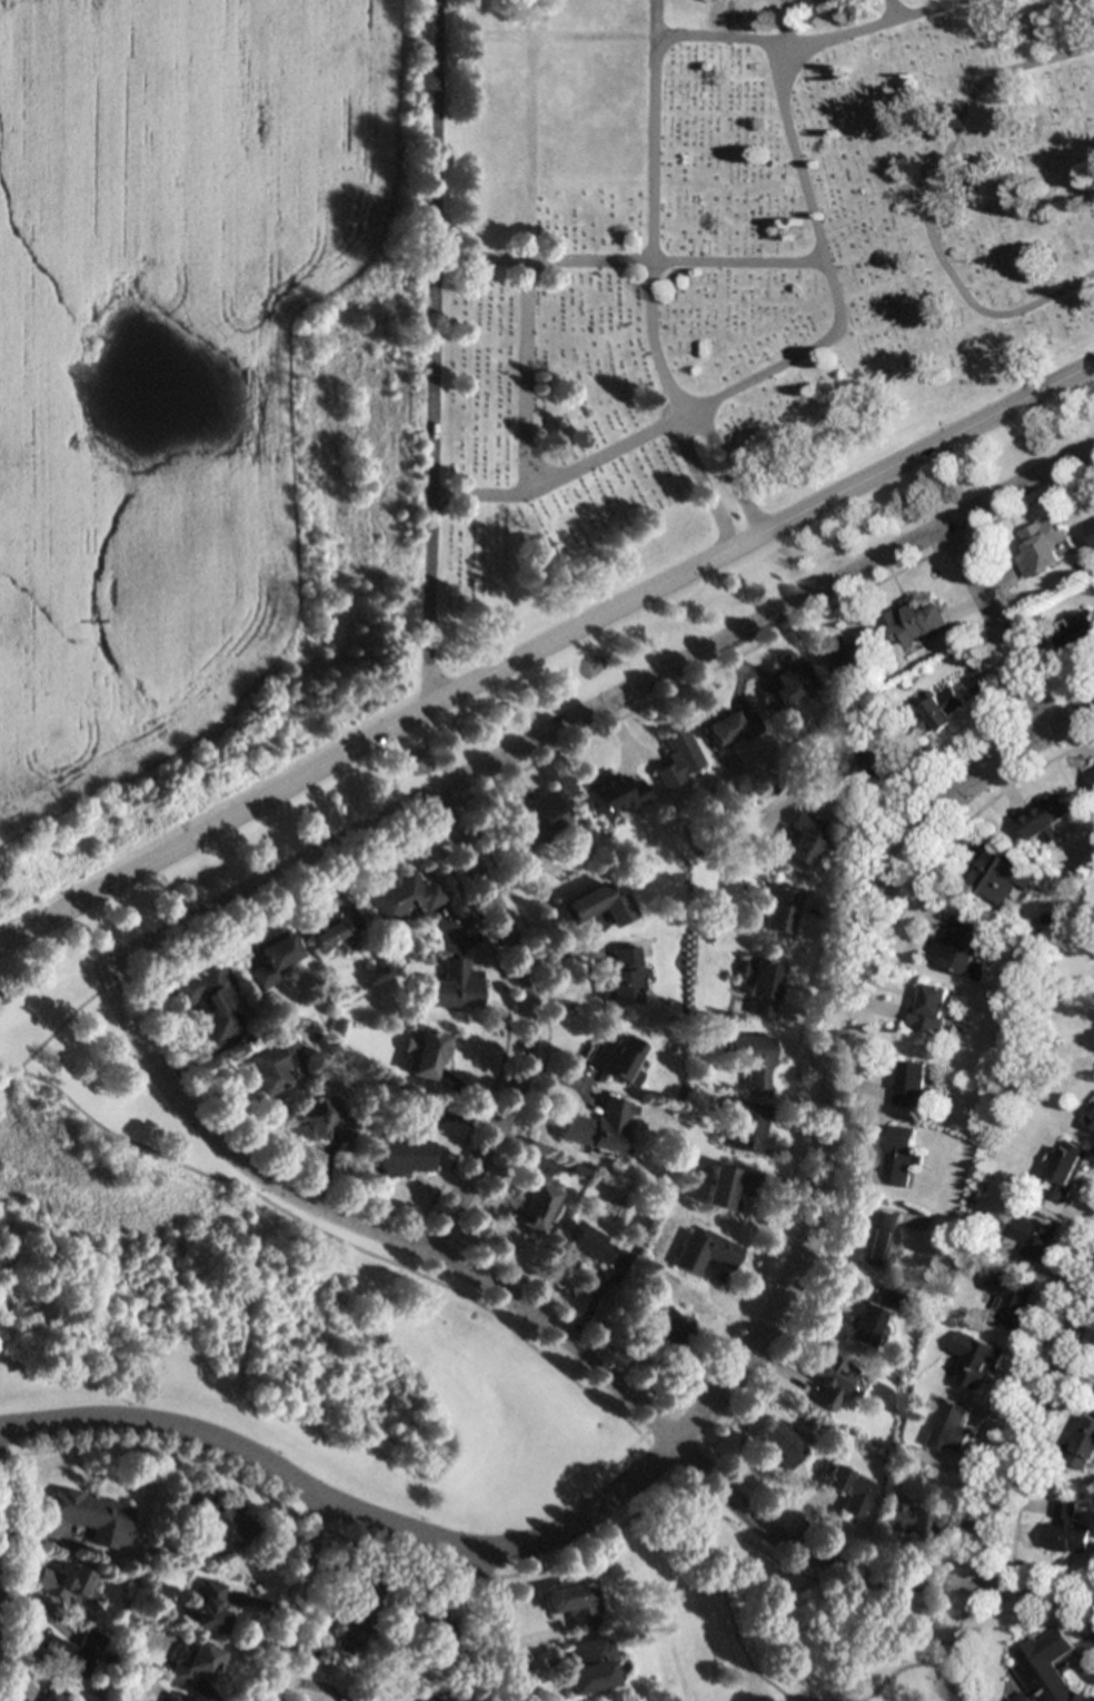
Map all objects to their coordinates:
building: (832, 0)
road: (662, 259)
park: (738, 267)
road: (653, 339)
park: (429, 340)
road: (527, 374)
crop: (195, 409)
road: (730, 471)
road: (705, 484)
building: (1092, 528)
building: (1042, 546)
building: (915, 622)
road: (999, 626)
building: (1078, 637)
road: (543, 649)
building: (846, 657)
park: (598, 661)
building: (789, 685)
building: (937, 713)
road: (569, 723)
building: (732, 728)
building: (679, 758)
building: (858, 772)
building: (1091, 774)
building: (616, 795)
building: (538, 818)
building: (1046, 818)
building: (807, 840)
building: (999, 876)
building: (402, 898)
building: (601, 906)
building: (783, 909)
building: (331, 929)
building: (957, 946)
building: (271, 959)
building: (623, 977)
building: (452, 986)
building: (763, 986)
building: (209, 1000)
building: (931, 1007)
road: (531, 1023)
road: (61, 1025)
road: (832, 1040)
building: (430, 1051)
building: (754, 1057)
building: (618, 1059)
building: (276, 1066)
building: (912, 1082)
building: (1091, 1117)
building: (325, 1121)
building: (748, 1126)
building: (598, 1127)
building: (899, 1155)
building: (401, 1157)
building: (1065, 1171)
building: (724, 1185)
building: (534, 1201)
building: (1035, 1236)
building: (881, 1238)
building: (591, 1245)
building: (704, 1252)
building: (1008, 1297)
building: (869, 1315)
building: (666, 1329)
road: (544, 1355)
road: (595, 1359)
building: (975, 1361)
park: (384, 1369)
building: (831, 1379)
building: (949, 1428)
road: (1028, 1431)
building: (779, 1445)
road: (627, 1446)
building: (1084, 1446)
road: (246, 1450)
building: (851, 1489)
building: (92, 1516)
road: (587, 1516)
building: (915, 1519)
building: (221, 1523)
building: (1066, 1531)
road: (351, 1540)
building: (63, 1582)
road: (299, 1599)
building: (574, 1603)
building: (209, 1609)
building: (357, 1609)
road: (498, 1623)
building: (434, 1624)
road: (957, 1633)
road: (942, 1641)
building: (74, 1651)
building: (196, 1664)
building: (590, 1665)
building: (1047, 1667)
road: (776, 1685)
building: (56, 1697)
building: (360, 1697)
building: (444, 1697)
building: (175, 1698)
road: (787, 1698)
building: (24, 1700)
road: (865, 1700)

